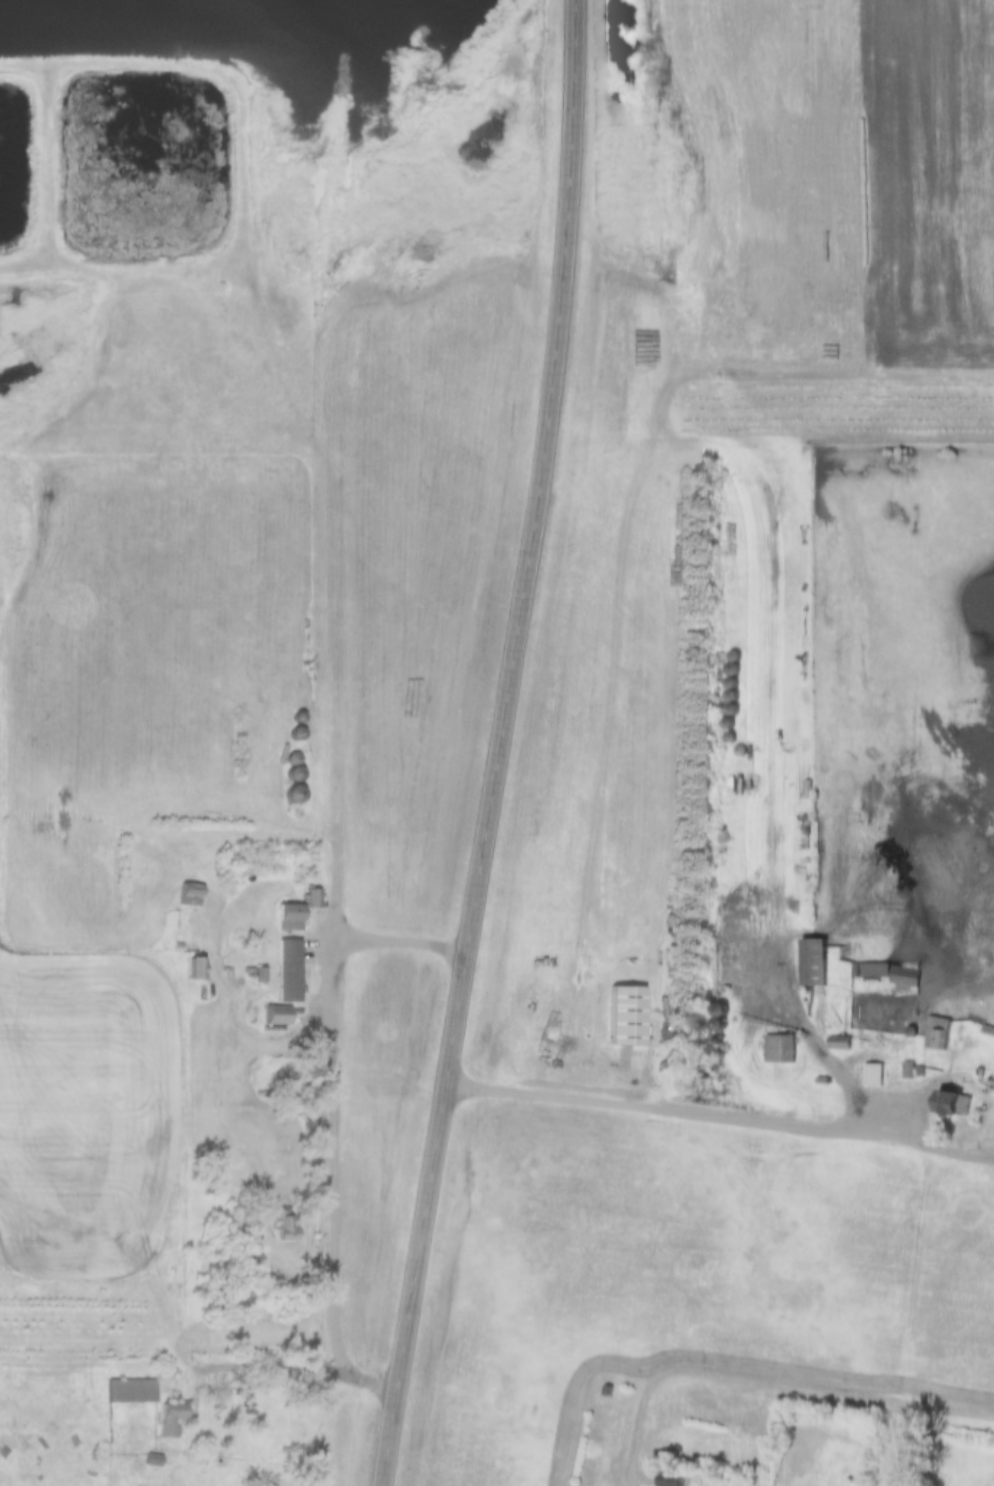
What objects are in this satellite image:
road: (341, 711)
building: (298, 718)
silo: (298, 718)
building: (298, 734)
silo: (298, 734)
building: (730, 737)
silo: (730, 737)
road: (507, 745)
building: (740, 751)
silo: (740, 751)
building: (295, 775)
silo: (295, 775)
building: (294, 795)
silo: (294, 795)
building: (298, 814)
silo: (298, 814)
building: (974, 854)
building: (190, 896)
building: (313, 899)
building: (288, 918)
building: (180, 945)
building: (813, 961)
building: (196, 968)
building: (888, 970)
building: (277, 1015)
building: (988, 1030)
building: (937, 1032)
building: (839, 1042)
building: (780, 1048)
road: (830, 1059)
building: (909, 1070)
building: (921, 1071)
building: (873, 1074)
building: (822, 1081)
road: (339, 1095)
building: (947, 1102)
road: (689, 1114)
road: (961, 1157)
building: (287, 1229)
road: (315, 1370)
building: (131, 1392)
building: (607, 1392)
road: (800, 1392)
building: (250, 1402)
building: (168, 1421)
road: (903, 1447)
building: (102, 1452)
road: (638, 1458)
building: (153, 1460)
building: (670, 1479)
building: (849, 1483)

